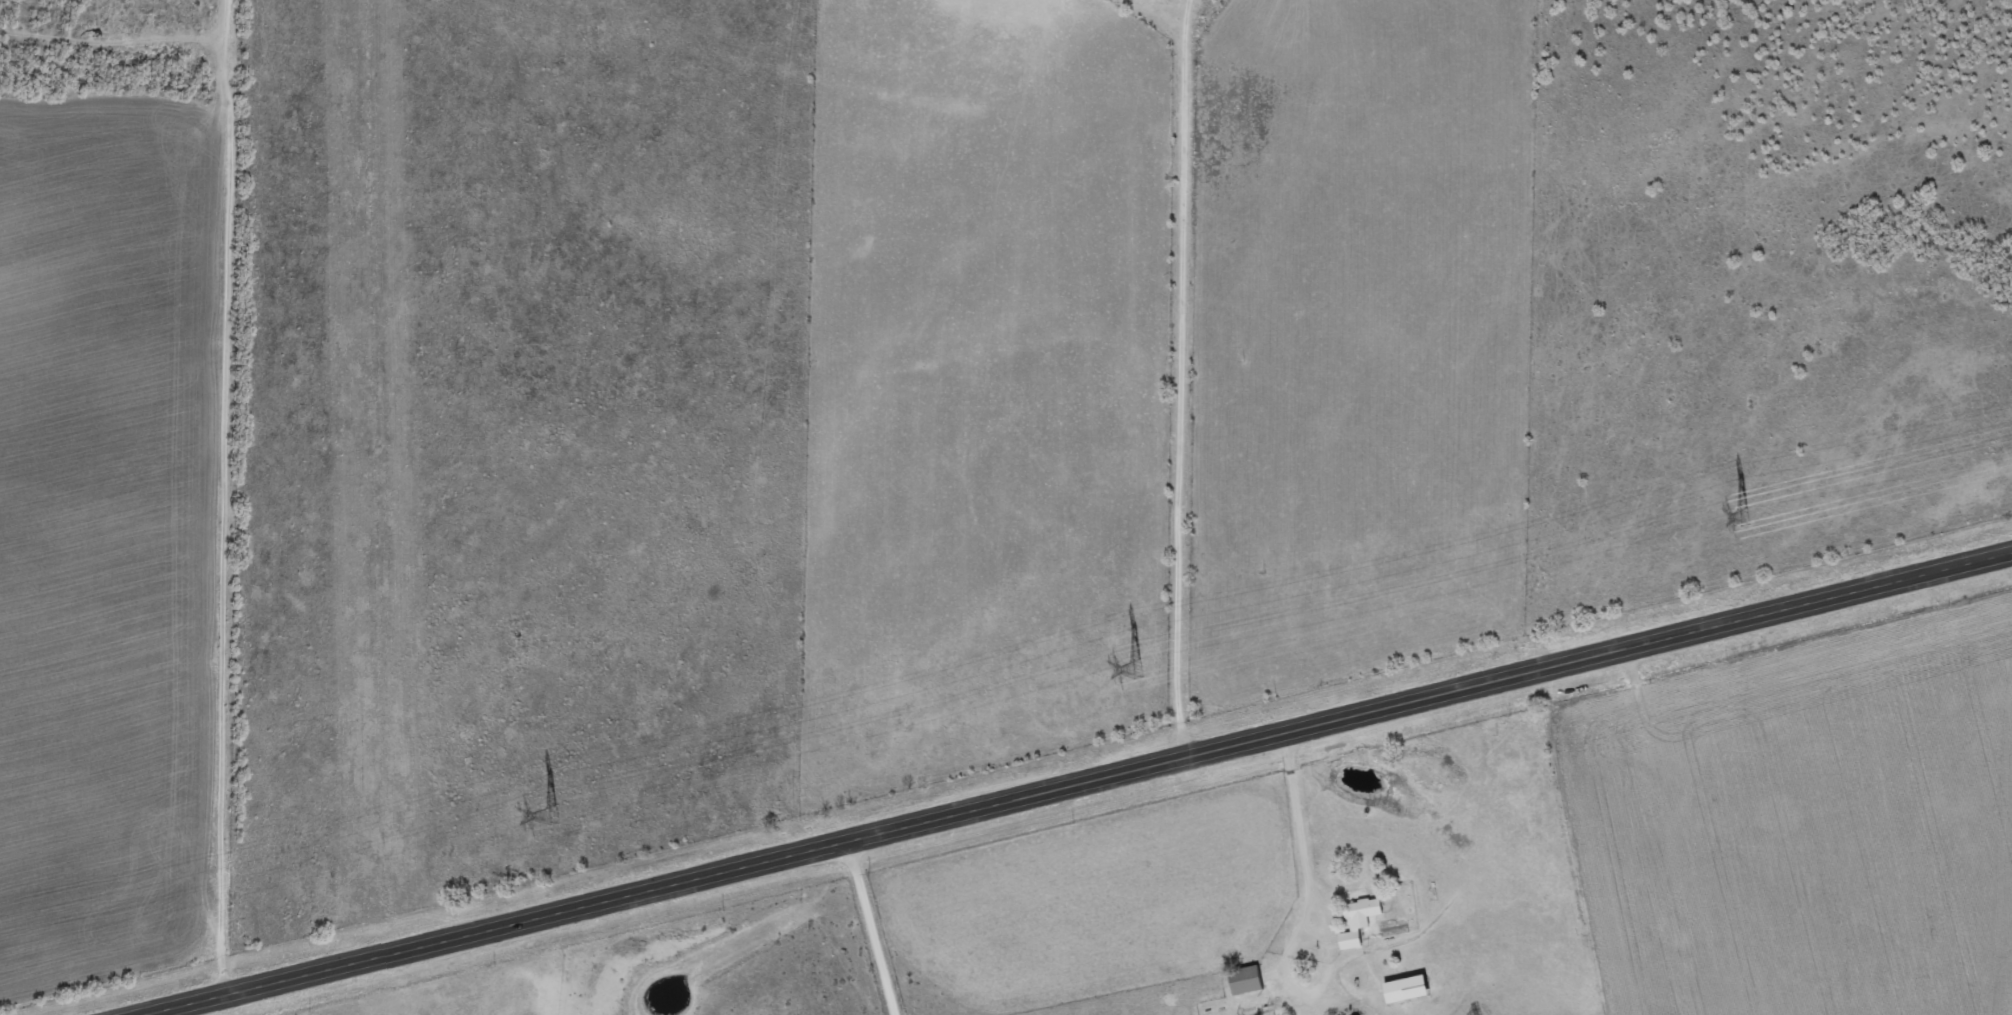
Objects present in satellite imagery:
road: (1181, 378)
road: (226, 496)
power tower: (1741, 516)
power tower: (1137, 667)
road: (1073, 782)
power tower: (554, 814)
road: (1307, 874)
building: (1358, 921)
road: (873, 925)
building: (1245, 981)
building: (1405, 989)

